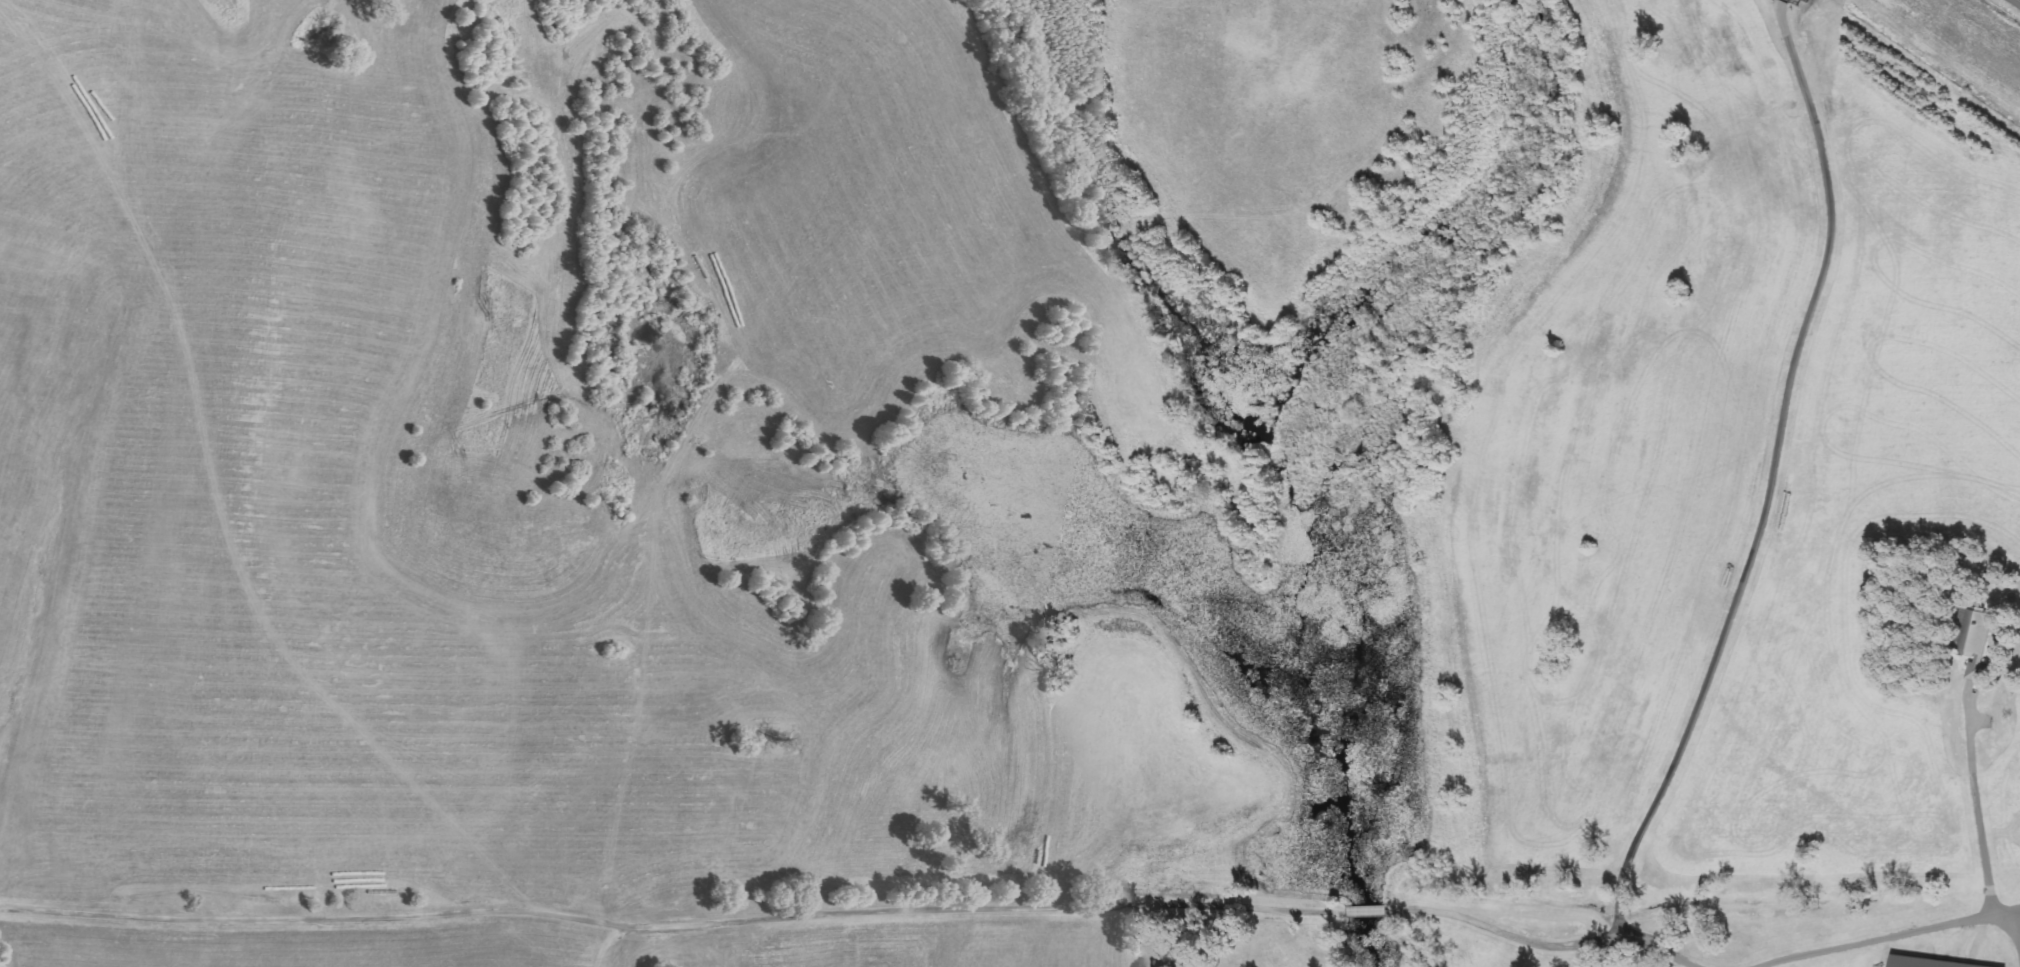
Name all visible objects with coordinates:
road: (1771, 489)
building: (1974, 642)
road: (1892, 937)
road: (1659, 943)
building: (1922, 963)

